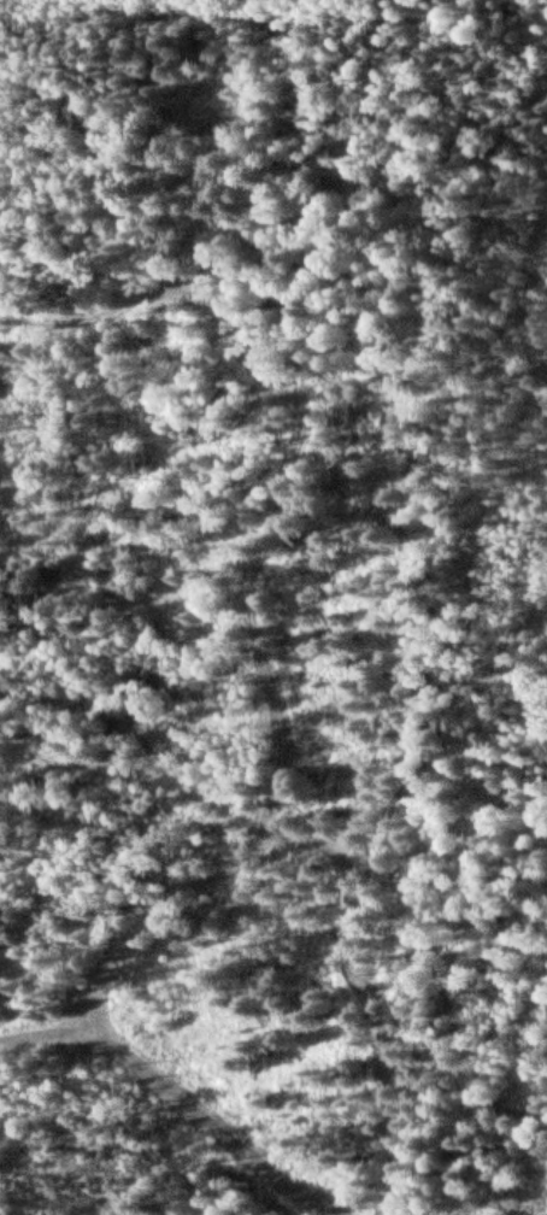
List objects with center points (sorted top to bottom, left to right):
road: (263, 239)

